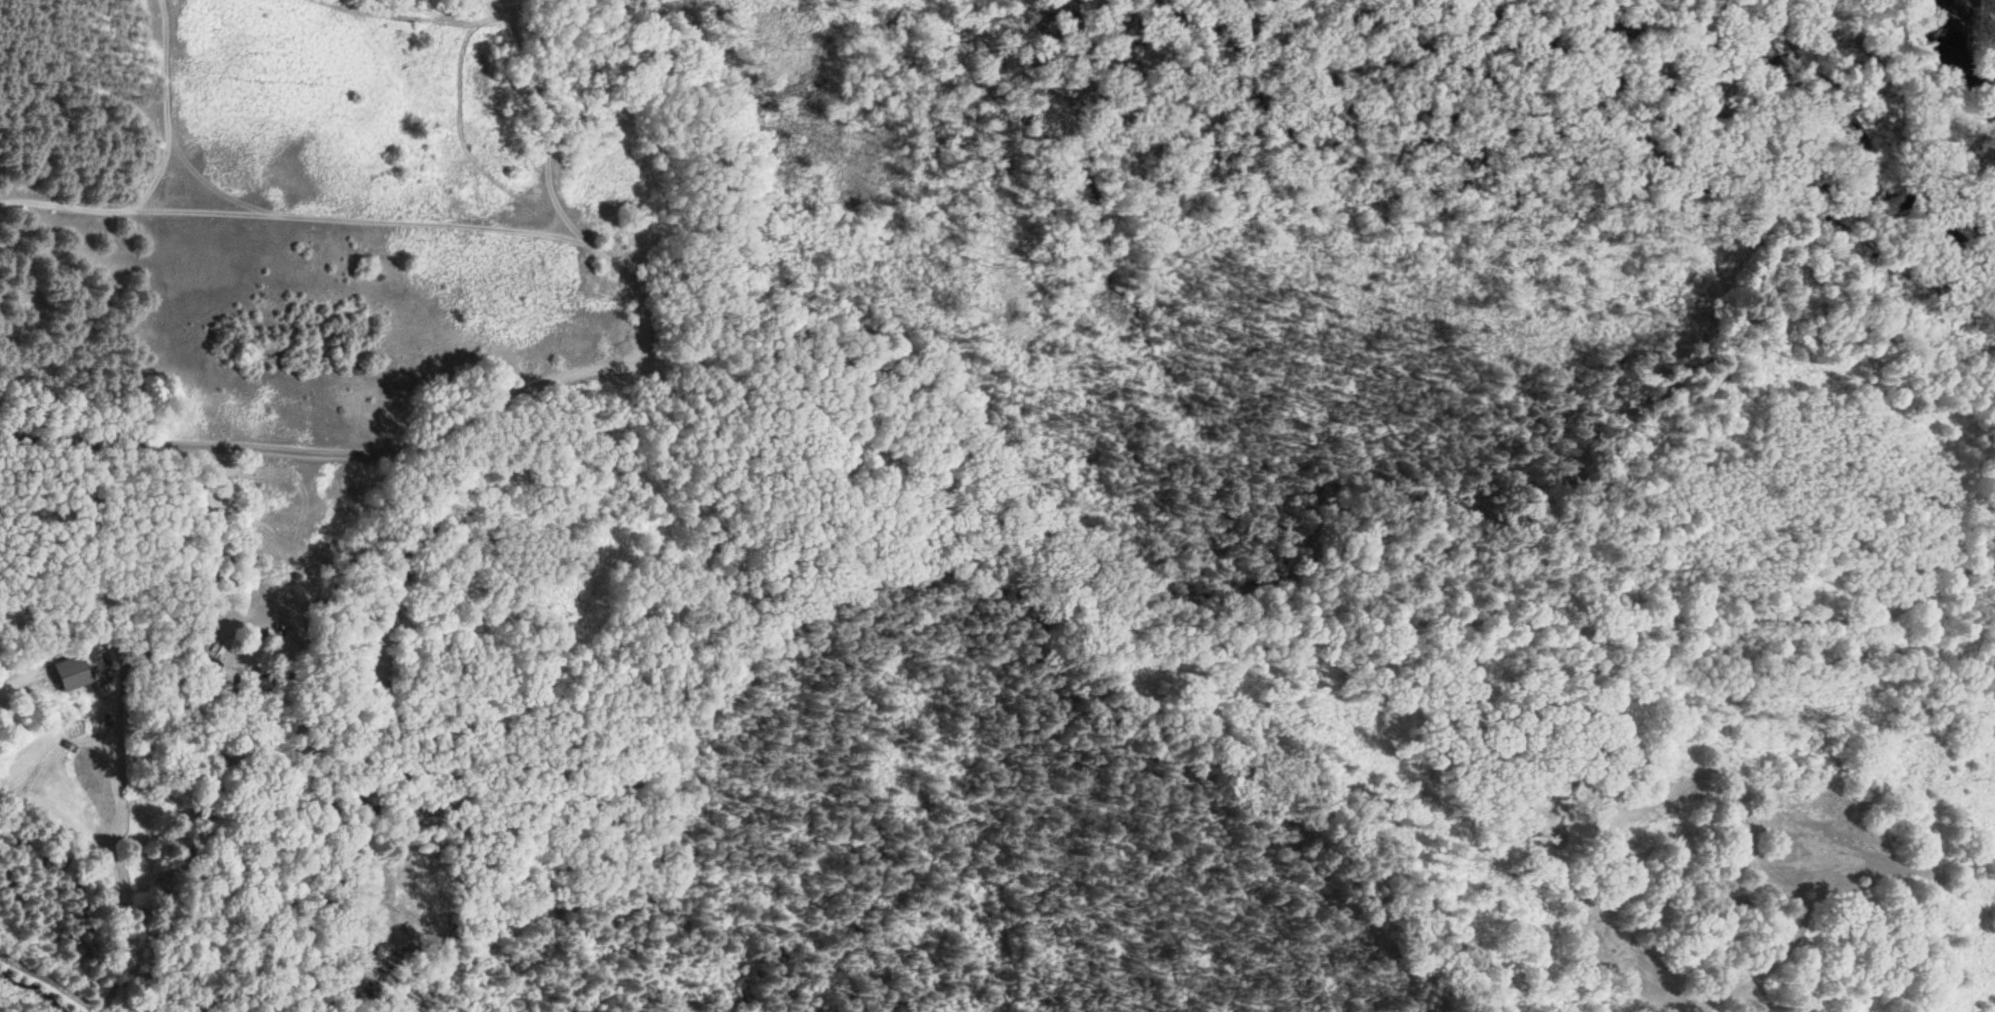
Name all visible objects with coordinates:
river: (1968, 57)
road: (471, 232)
road: (331, 463)
building: (74, 673)
building: (257, 681)

